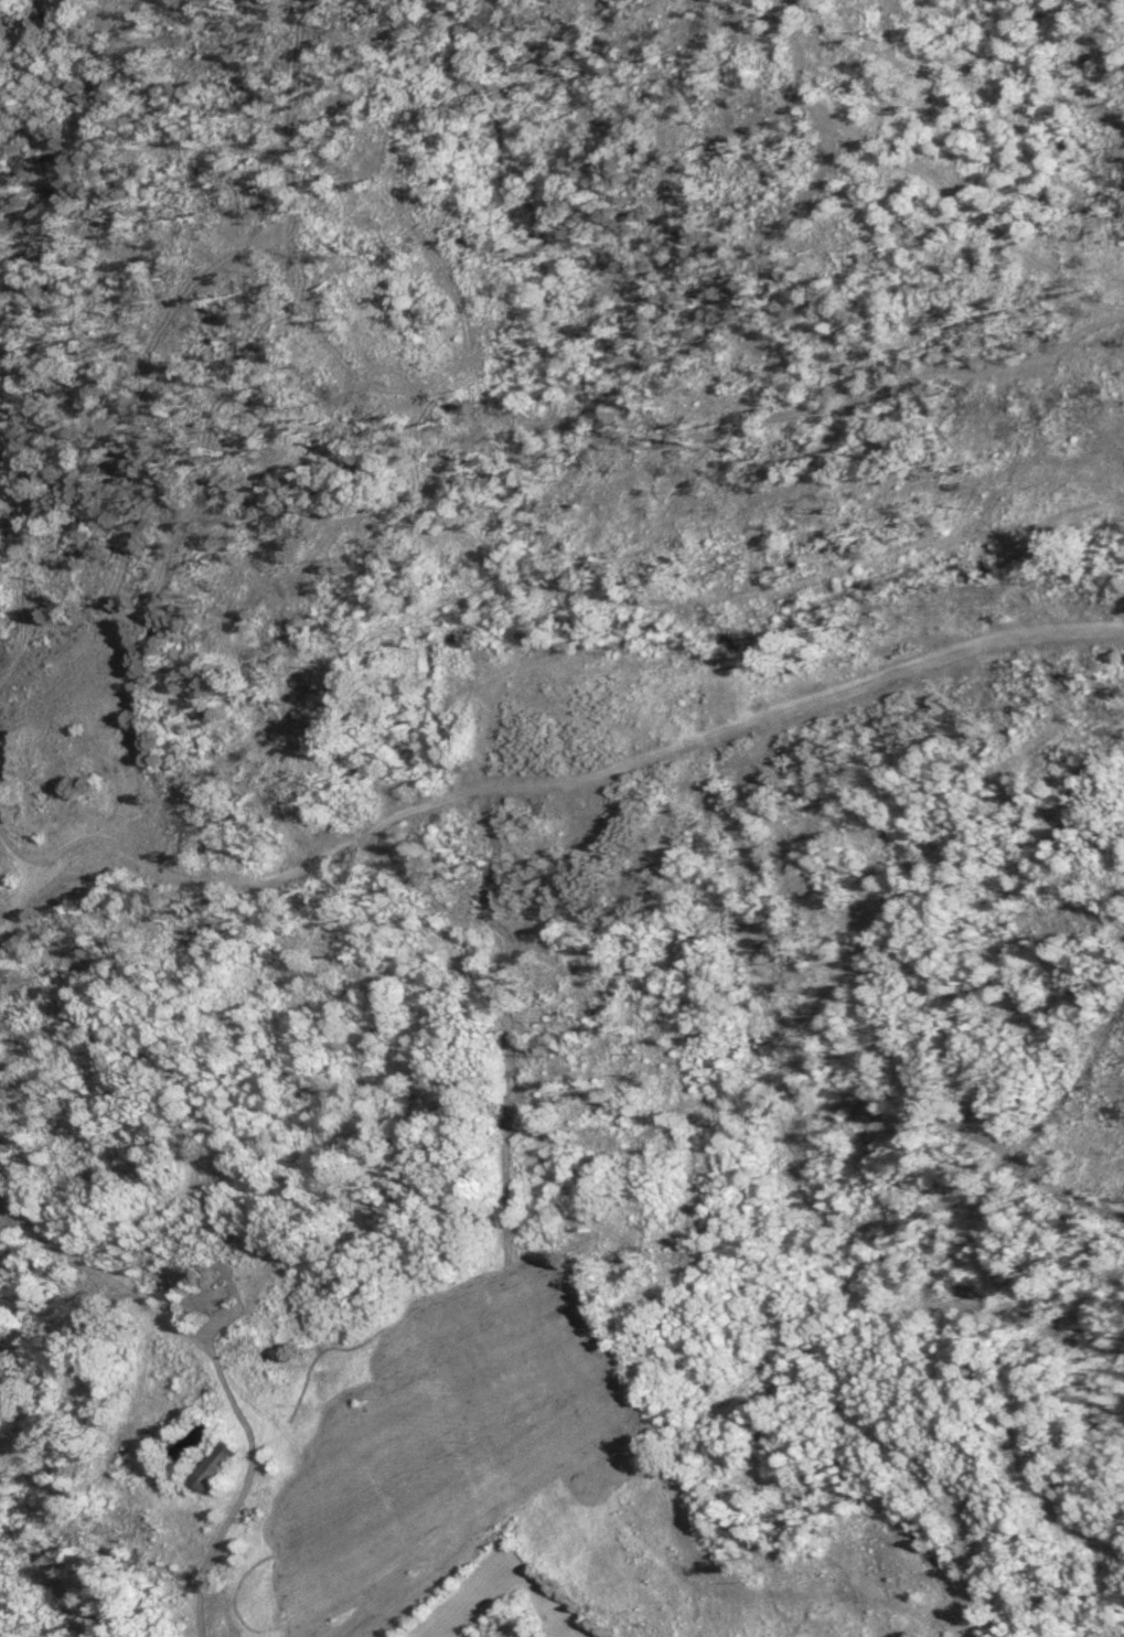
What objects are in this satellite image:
building: (207, 1467)
road: (247, 1494)

